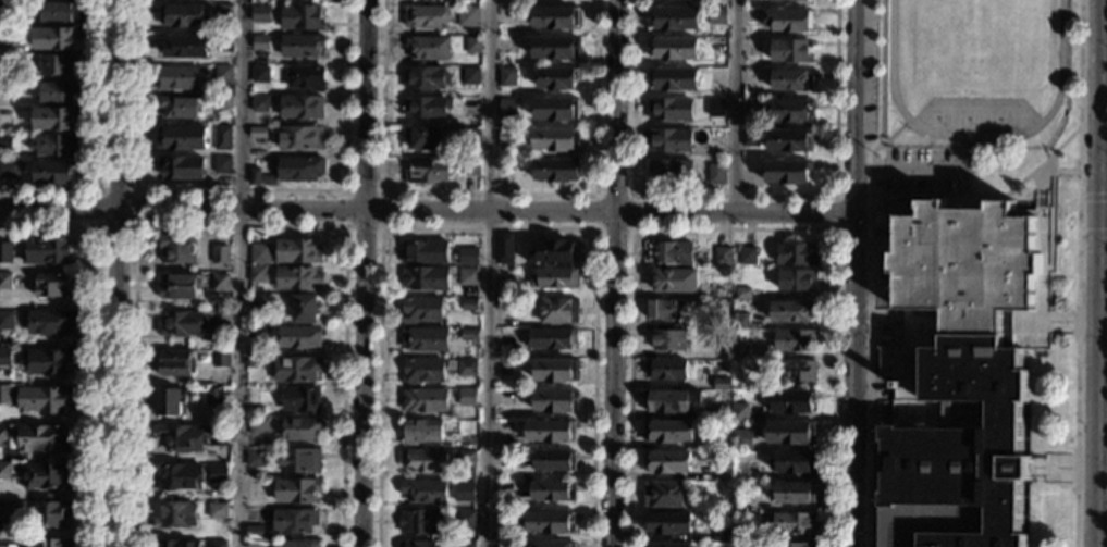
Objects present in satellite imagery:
building: (791, 0)
building: (509, 3)
building: (7, 10)
building: (58, 12)
building: (260, 12)
building: (224, 13)
building: (182, 16)
building: (467, 16)
building: (717, 16)
building: (300, 17)
building: (426, 17)
building: (555, 17)
building: (674, 18)
building: (788, 21)
building: (9, 36)
park: (981, 38)
building: (54, 39)
building: (223, 42)
building: (260, 42)
building: (184, 46)
building: (472, 46)
building: (300, 47)
building: (718, 47)
building: (428, 48)
building: (555, 48)
building: (674, 49)
building: (788, 51)
building: (4, 62)
building: (59, 65)
parking lot: (870, 69)
building: (223, 74)
building: (260, 74)
building: (470, 76)
building: (507, 76)
building: (306, 77)
building: (425, 77)
building: (179, 78)
building: (556, 78)
building: (674, 79)
building: (716, 79)
building: (792, 79)
building: (58, 91)
building: (5, 92)
building: (222, 101)
building: (259, 104)
road: (736, 105)
building: (506, 107)
building: (179, 108)
building: (302, 108)
building: (426, 108)
building: (715, 108)
building: (556, 109)
building: (671, 109)
building: (751, 109)
building: (791, 111)
park: (940, 112)
park: (973, 112)
park: (1003, 112)
building: (5, 116)
road: (1079, 116)
building: (53, 119)
road: (896, 132)
building: (258, 133)
building: (716, 135)
building: (471, 136)
building: (422, 137)
building: (507, 137)
building: (182, 138)
building: (222, 138)
building: (300, 138)
building: (750, 138)
track: (976, 138)
building: (553, 139)
building: (789, 140)
building: (671, 141)
building: (5, 142)
road: (97, 144)
building: (56, 146)
building: (222, 165)
building: (471, 167)
building: (182, 169)
building: (299, 169)
building: (9, 170)
building: (555, 170)
parking lot: (923, 170)
building: (428, 171)
road: (1056, 171)
building: (672, 172)
building: (786, 172)
building: (53, 173)
building: (716, 174)
building: (255, 177)
road: (1042, 179)
road: (241, 191)
road: (988, 194)
road: (490, 195)
road: (733, 196)
road: (1093, 197)
road: (429, 210)
road: (834, 212)
road: (1102, 216)
road: (1053, 222)
road: (238, 223)
road: (96, 224)
road: (380, 225)
road: (487, 226)
road: (594, 226)
road: (731, 227)
road: (1093, 234)
building: (504, 248)
building: (177, 249)
building: (47, 250)
building: (297, 251)
building: (425, 251)
building: (554, 251)
building: (5, 252)
road: (1046, 252)
building: (671, 253)
building: (220, 254)
building: (259, 254)
building: (797, 254)
building: (722, 256)
building: (468, 257)
building: (747, 257)
road: (870, 272)
road: (115, 273)
road: (239, 273)
road: (362, 273)
road: (489, 273)
road: (614, 273)
road: (856, 273)
road: (1095, 273)
building: (257, 274)
building: (506, 275)
building: (468, 277)
building: (297, 278)
building: (426, 278)
building: (554, 278)
building: (795, 279)
building: (673, 281)
building: (5, 282)
building: (219, 283)
building: (52, 285)
building: (180, 286)
building: (742, 294)
building: (257, 304)
building: (469, 304)
building: (304, 309)
building: (421, 310)
building: (666, 310)
building: (558, 311)
building: (792, 311)
building: (5, 320)
building: (1008, 321)
building: (50, 322)
building: (740, 322)
building: (221, 323)
building: (181, 324)
building: (255, 333)
building: (736, 334)
building: (469, 335)
road: (96, 337)
building: (299, 337)
building: (551, 338)
building: (426, 339)
building: (669, 340)
building: (795, 340)
building: (740, 351)
building: (4, 358)
building: (220, 359)
building: (48, 362)
building: (254, 362)
building: (175, 363)
building: (466, 368)
building: (296, 370)
building: (666, 370)
building: (422, 371)
building: (555, 371)
building: (795, 371)
building: (958, 378)
building: (721, 384)
road: (1077, 389)
building: (4, 395)
building: (213, 397)
building: (467, 398)
building: (42, 400)
building: (302, 400)
building: (425, 400)
building: (553, 400)
building: (170, 401)
building: (669, 401)
building: (792, 401)
building: (255, 412)
building: (718, 412)
building: (739, 412)
building: (258, 426)
building: (300, 430)
building: (420, 432)
building: (503, 432)
building: (551, 432)
building: (667, 432)
building: (790, 433)
building: (4, 434)
building: (187, 437)
building: (42, 438)
building: (742, 440)
building: (718, 443)
building: (255, 459)
building: (503, 459)
building: (299, 460)
building: (467, 460)
building: (555, 460)
building: (426, 461)
building: (794, 462)
building: (666, 463)
building: (4, 470)
building: (218, 473)
building: (721, 473)
building: (45, 476)
building: (180, 477)
building: (503, 489)
building: (466, 490)
building: (553, 490)
building: (296, 492)
building: (423, 492)
building: (795, 493)
building: (663, 495)
building: (3, 509)
building: (218, 511)
building: (50, 513)
building: (175, 515)
building: (467, 520)
building: (294, 521)
building: (421, 522)
building: (503, 522)
building: (551, 523)
building: (668, 523)
building: (794, 523)
building: (254, 532)
building: (721, 534)
building: (3, 543)
building: (49, 543)
building: (256, 543)
building: (176, 544)
building: (217, 544)
building: (297, 544)
building: (554, 544)
building: (417, 545)
building: (467, 545)
building: (503, 545)
building: (770, 545)
building: (794, 545)
building: (667, 546)

